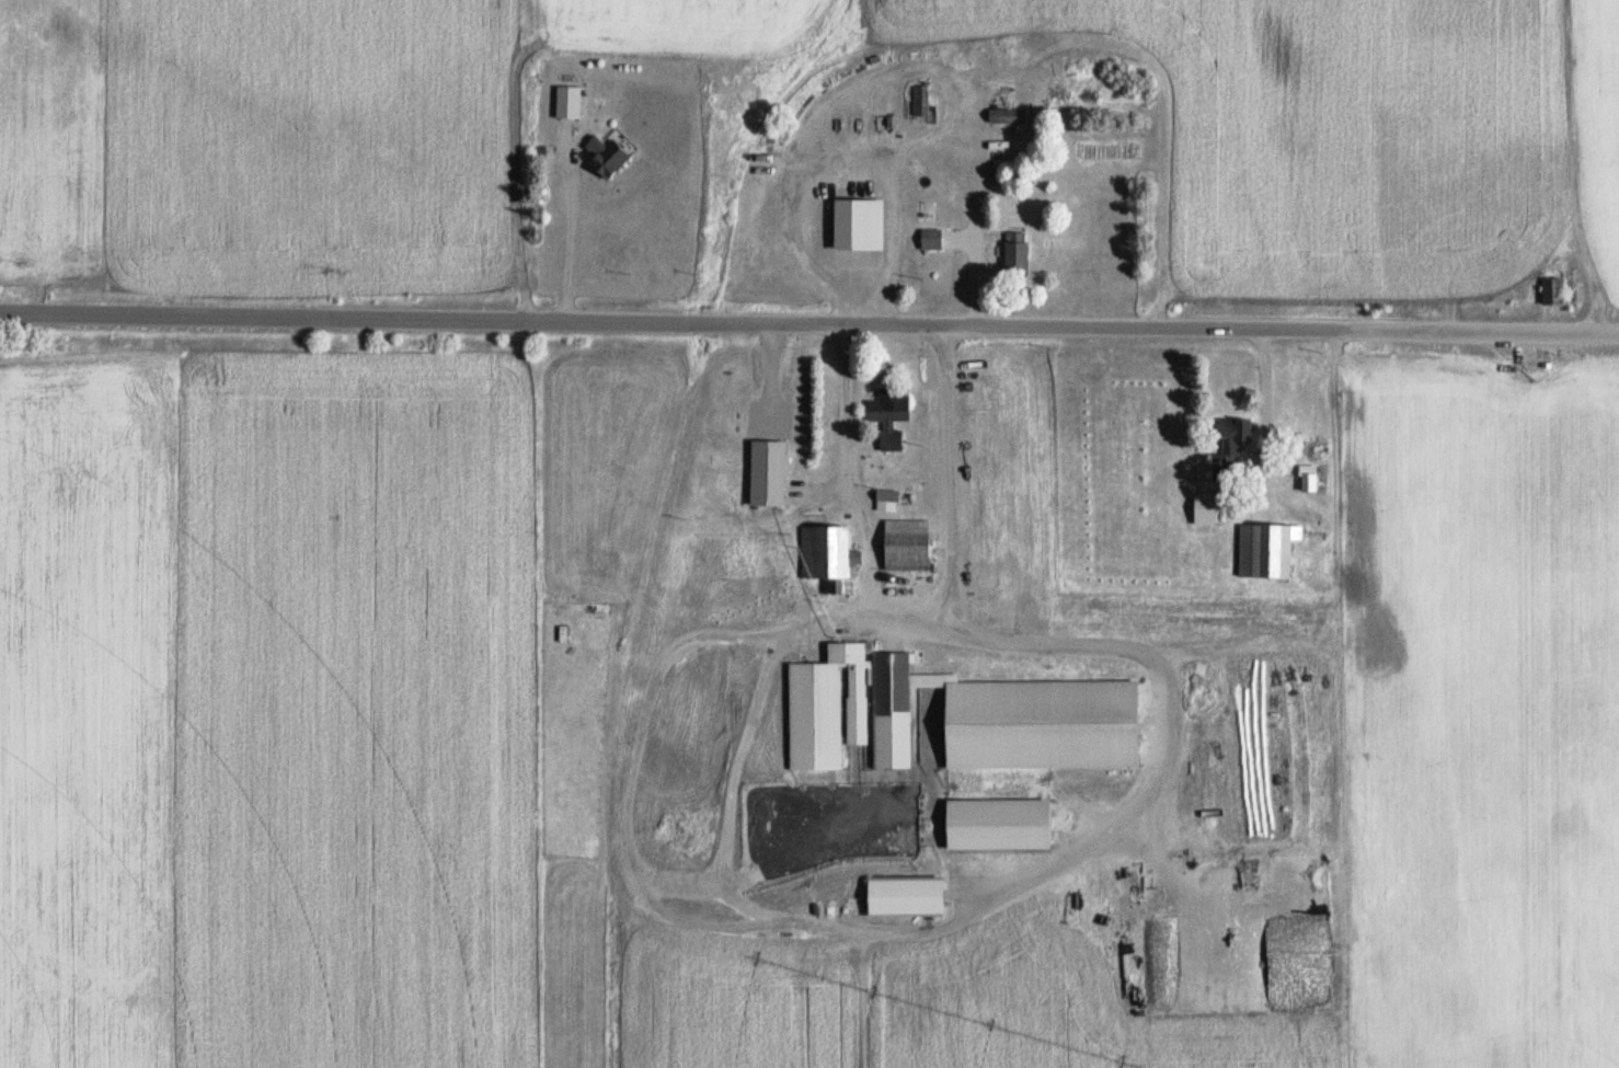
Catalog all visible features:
building: (920, 101)
building: (567, 102)
building: (1007, 116)
building: (608, 159)
building: (930, 239)
building: (1015, 252)
building: (1551, 292)
road: (675, 324)
road: (1484, 331)
building: (889, 416)
building: (1230, 447)
building: (873, 467)
building: (1308, 478)
building: (800, 490)
building: (886, 494)
building: (906, 544)
building: (1267, 548)
building: (824, 551)
building: (827, 707)
building: (892, 710)
building: (997, 823)
building: (904, 896)

